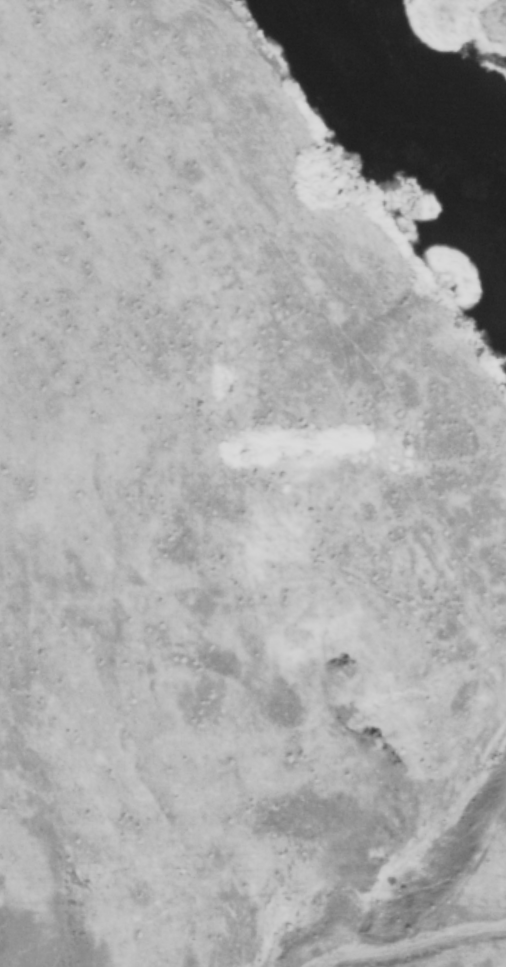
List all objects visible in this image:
power tower: (6, 891)

